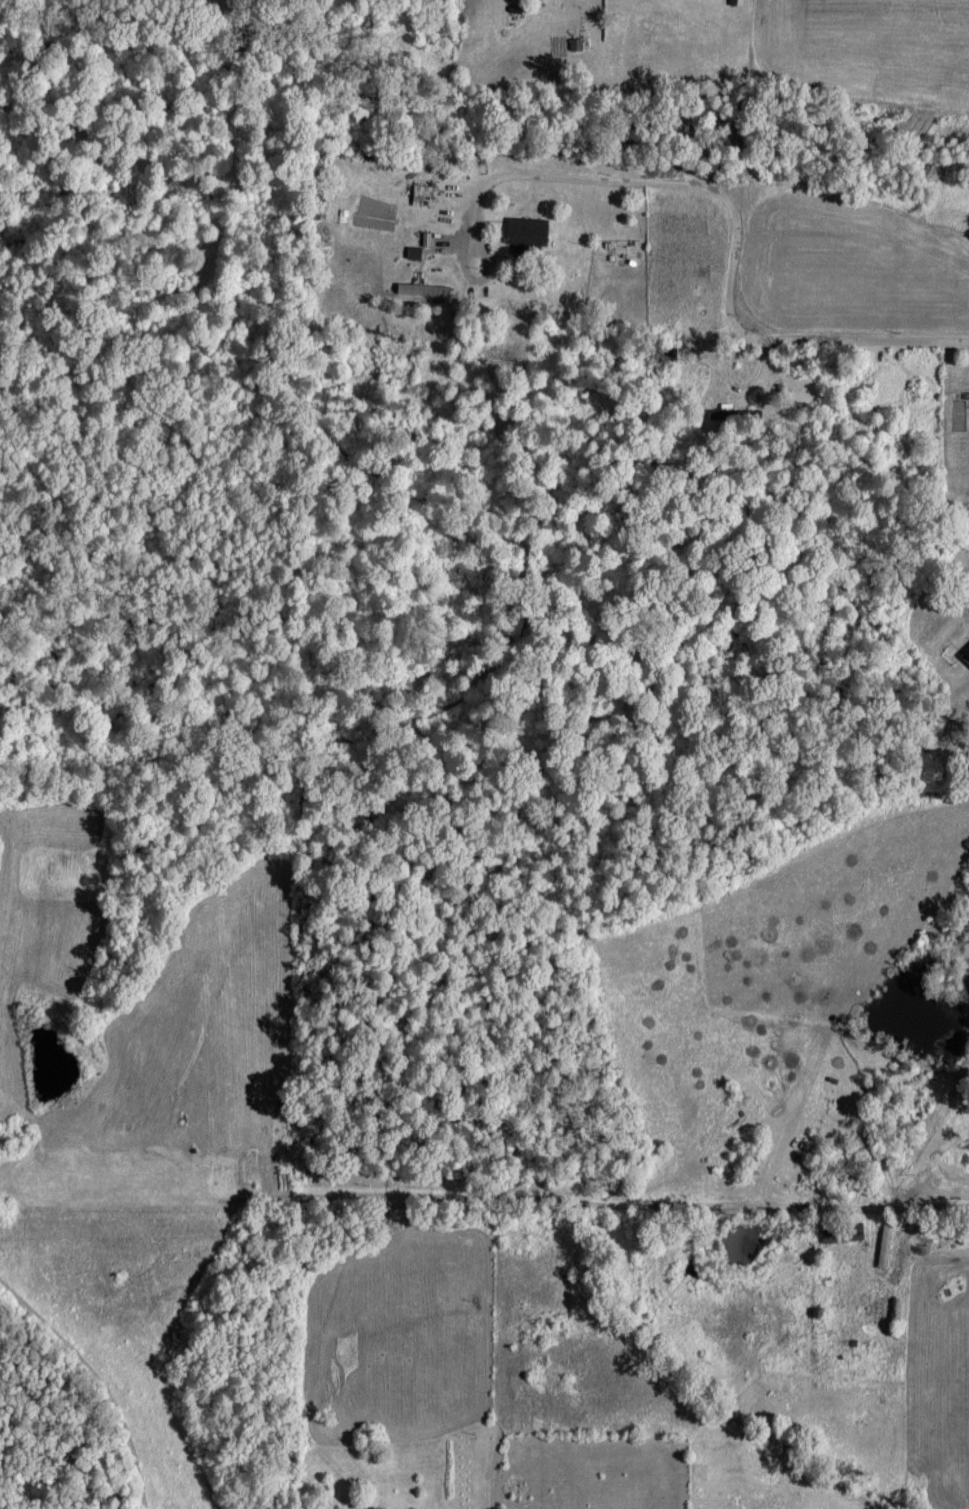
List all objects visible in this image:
building: (420, 192)
road: (730, 199)
building: (525, 230)
building: (421, 288)
building: (965, 655)
road: (95, 1383)
road: (502, 1392)

